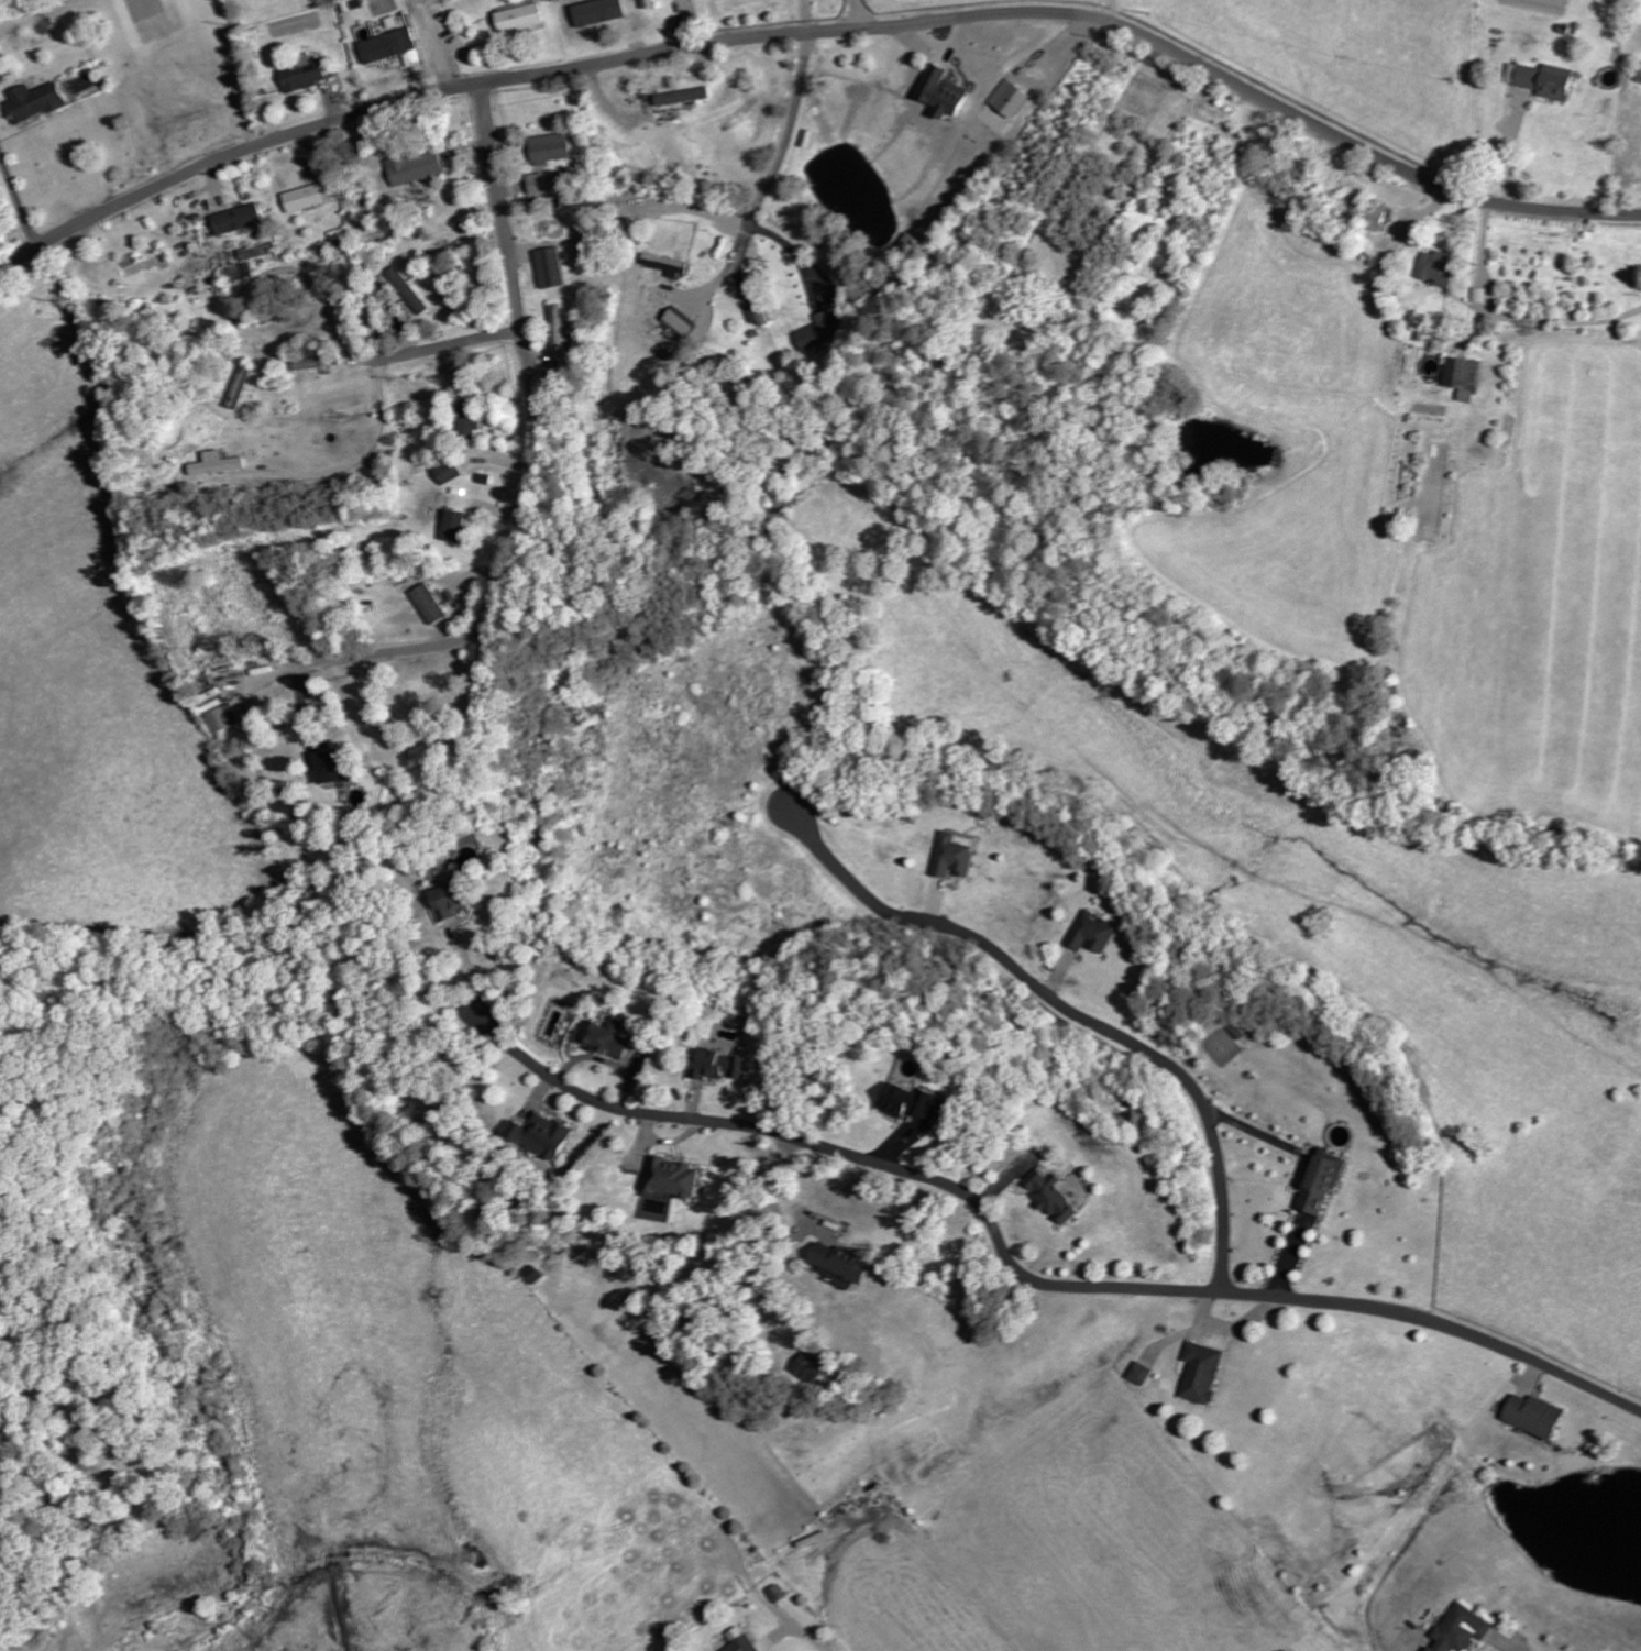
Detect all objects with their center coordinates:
building: (647, 4)
road: (815, 31)
building: (386, 46)
building: (1, 62)
building: (301, 76)
building: (1545, 80)
building: (940, 92)
building: (1009, 99)
building: (35, 102)
building: (737, 113)
building: (550, 148)
building: (415, 167)
road: (770, 173)
building: (537, 185)
building: (305, 198)
building: (1377, 217)
building: (235, 219)
road: (793, 253)
building: (668, 265)
building: (552, 267)
building: (1436, 267)
building: (236, 271)
building: (408, 290)
building: (758, 315)
building: (679, 321)
building: (559, 329)
building: (815, 332)
building: (1462, 377)
building: (241, 388)
building: (470, 420)
road: (531, 450)
building: (217, 464)
building: (449, 473)
building: (454, 527)
building: (431, 604)
building: (225, 718)
building: (320, 769)
building: (952, 857)
building: (445, 903)
building: (1093, 934)
road: (1076, 1013)
building: (605, 1038)
building: (720, 1067)
building: (895, 1104)
building: (540, 1136)
building: (671, 1179)
building: (1320, 1181)
building: (1042, 1199)
building: (834, 1261)
road: (1033, 1279)
building: (807, 1366)
building: (1201, 1372)
building: (1136, 1373)
building: (1530, 1415)
building: (1458, 1630)
building: (739, 1640)

